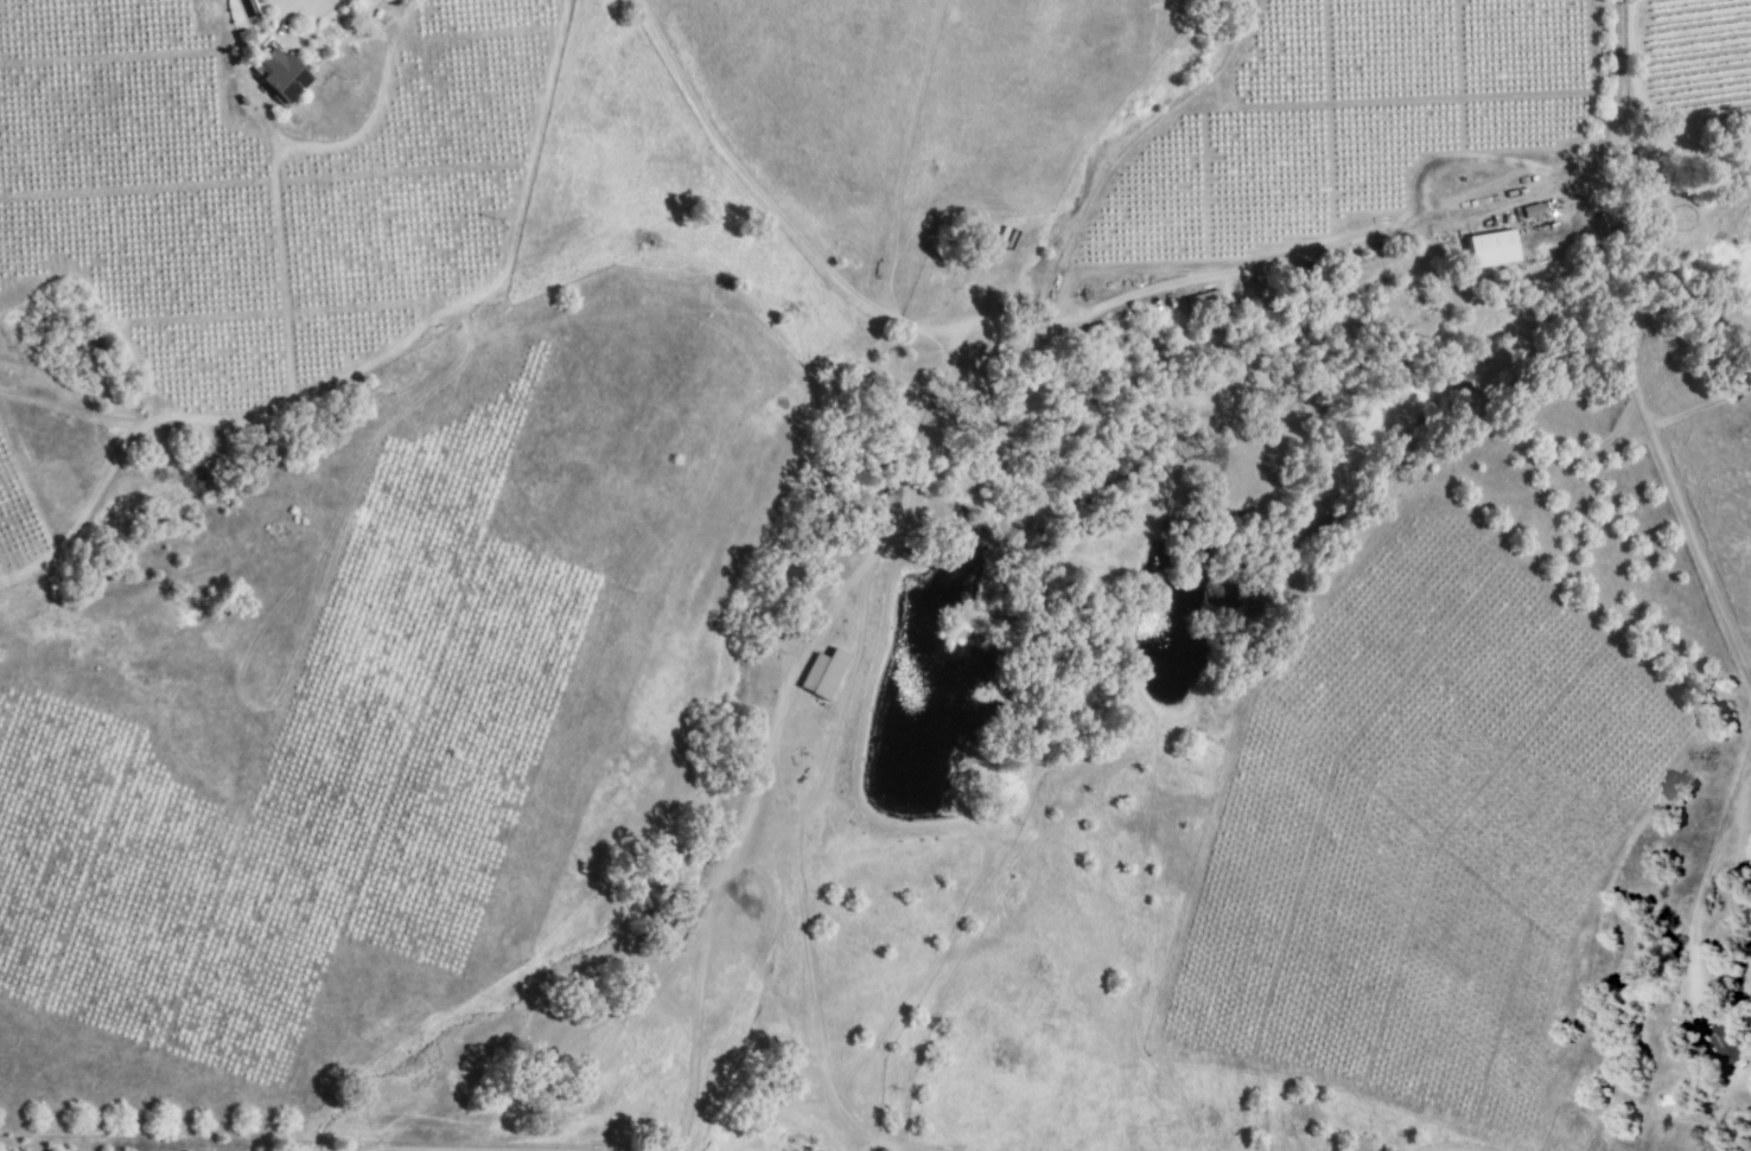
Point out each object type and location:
building: (279, 73)
road: (1178, 96)
building: (1490, 248)
road: (1165, 284)
building: (822, 673)
building: (1725, 1044)

